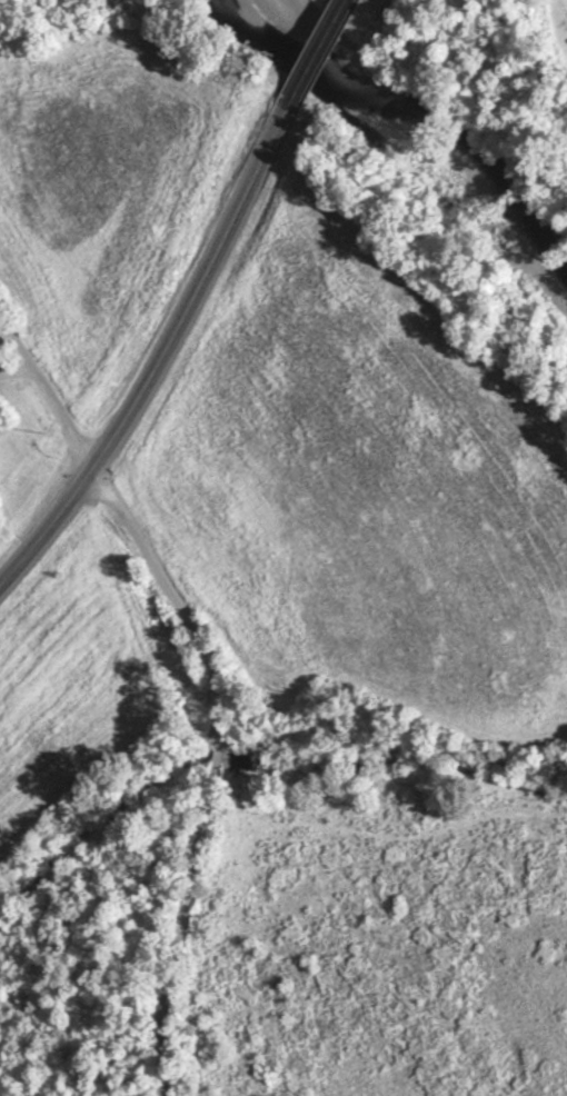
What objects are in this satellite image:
river: (419, 112)
road: (190, 306)
road: (130, 518)
road: (158, 910)

